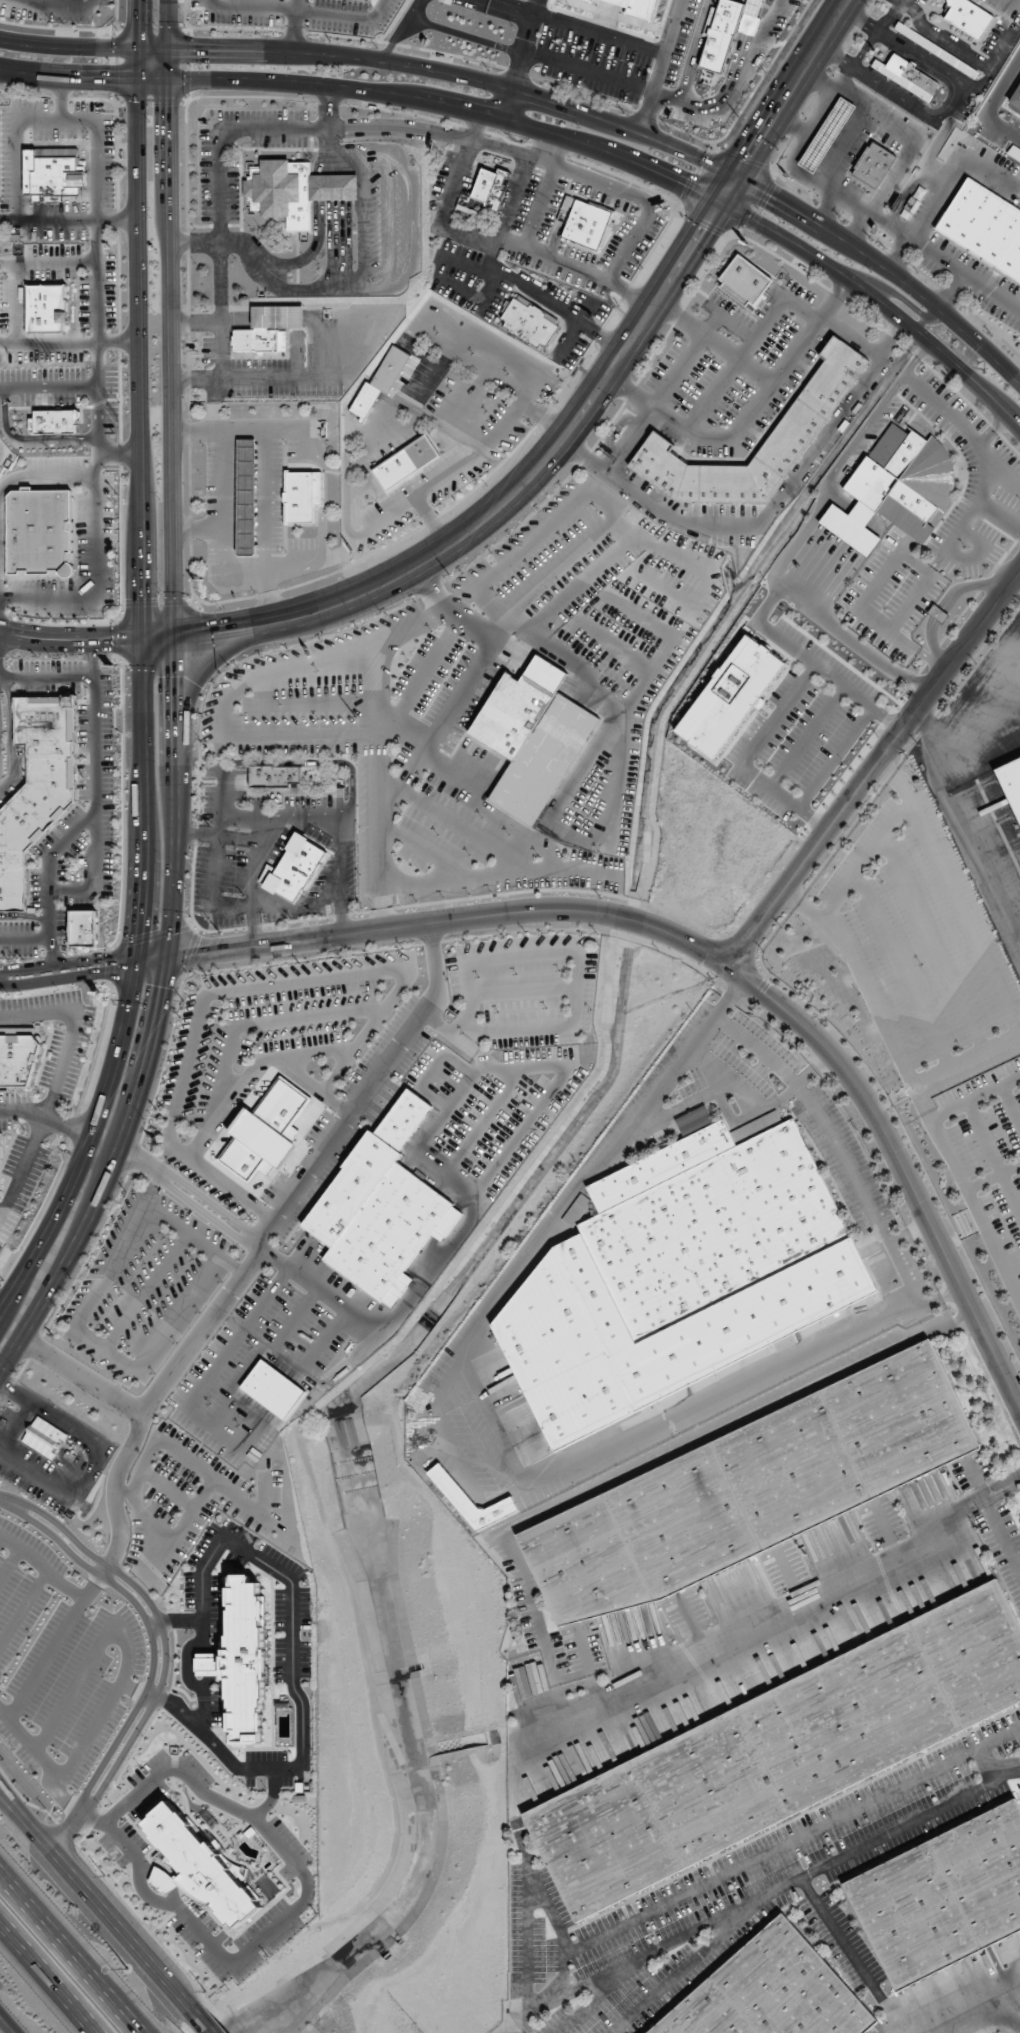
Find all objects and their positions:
building: (589, 0)
building: (446, 1)
road: (69, 2)
road: (510, 7)
road: (535, 7)
building: (638, 7)
road: (300, 10)
building: (966, 17)
traffic signals: (137, 20)
road: (294, 25)
road: (673, 28)
road: (399, 29)
road: (465, 36)
road: (636, 43)
traffic signals: (193, 49)
building: (934, 50)
road: (523, 51)
road: (587, 71)
building: (905, 76)
traffic signals: (108, 78)
road: (61, 98)
road: (549, 100)
road: (510, 105)
traffic signals: (168, 107)
power tower: (737, 116)
road: (472, 127)
road: (17, 129)
road: (551, 132)
building: (827, 135)
road: (547, 147)
traffic signals: (752, 154)
building: (873, 164)
building: (53, 171)
traffic signals: (682, 184)
building: (491, 186)
building: (333, 187)
building: (280, 190)
traffic signals: (771, 195)
road: (512, 196)
building: (468, 208)
road: (647, 212)
road: (68, 219)
building: (589, 224)
building: (982, 226)
traffic signals: (702, 230)
road: (218, 233)
road: (194, 239)
road: (47, 262)
power tower: (641, 267)
building: (744, 280)
road: (632, 293)
road: (96, 299)
road: (18, 302)
building: (47, 307)
road: (924, 317)
road: (195, 319)
road: (136, 320)
road: (170, 320)
building: (530, 321)
building: (267, 328)
road: (68, 342)
road: (715, 343)
road: (195, 379)
road: (48, 387)
building: (819, 395)
building: (364, 400)
power tower: (557, 401)
road: (654, 404)
road: (214, 405)
road: (585, 411)
road: (748, 416)
building: (54, 421)
road: (28, 438)
road: (118, 456)
building: (404, 463)
road: (43, 476)
road: (263, 484)
building: (896, 488)
building: (301, 495)
building: (246, 496)
road: (769, 515)
road: (225, 518)
road: (198, 526)
building: (40, 532)
power tower: (448, 574)
road: (93, 583)
traffic signals: (138, 596)
building: (937, 613)
traffic signals: (207, 637)
road: (68, 639)
traffic signals: (112, 640)
road: (155, 640)
road: (46, 677)
traffic signals: (174, 679)
road: (375, 687)
road: (431, 732)
road: (10, 735)
building: (531, 736)
power tower: (332, 756)
road: (873, 766)
building: (275, 776)
road: (94, 785)
building: (36, 786)
building: (1010, 786)
road: (608, 802)
road: (259, 815)
road: (198, 834)
road: (864, 861)
building: (295, 868)
road: (49, 880)
road: (953, 895)
power tower: (243, 896)
road: (24, 915)
building: (83, 927)
traffic signals: (141, 929)
power tower: (219, 932)
road: (24, 941)
road: (934, 944)
road: (696, 946)
traffic signals: (201, 952)
traffic signals: (100, 964)
road: (68, 966)
road: (902, 970)
traffic signals: (165, 989)
road: (130, 990)
power tower: (183, 1001)
road: (157, 1023)
road: (73, 1030)
building: (18, 1056)
road: (966, 1059)
road: (727, 1076)
road: (915, 1086)
road: (975, 1098)
road: (1011, 1104)
road: (771, 1105)
road: (679, 1107)
road: (46, 1118)
building: (265, 1133)
building: (1, 1145)
road: (142, 1158)
road: (993, 1158)
road: (849, 1169)
road: (992, 1177)
building: (380, 1207)
building: (577, 1210)
road: (909, 1234)
road: (259, 1241)
road: (258, 1242)
building: (681, 1273)
power tower: (2, 1279)
road: (81, 1376)
road: (446, 1417)
building: (900, 1418)
building: (45, 1439)
road: (644, 1463)
building: (791, 1470)
road: (1001, 1488)
building: (470, 1501)
road: (992, 1516)
building: (683, 1522)
road: (885, 1531)
building: (583, 1563)
road: (788, 1579)
road: (293, 1618)
road: (178, 1621)
road: (690, 1626)
road: (724, 1644)
road: (159, 1651)
building: (973, 1652)
building: (246, 1658)
building: (210, 1663)
road: (587, 1666)
road: (522, 1700)
building: (849, 1718)
road: (1004, 1768)
building: (710, 1788)
road: (273, 1796)
building: (602, 1841)
road: (791, 1841)
building: (206, 1870)
building: (985, 1871)
road: (775, 1887)
road: (308, 1888)
road: (93, 1900)
road: (547, 1905)
building: (912, 1917)
road: (526, 1935)
road: (840, 1939)
road: (73, 1947)
road: (687, 1963)
road: (44, 1981)
building: (791, 1986)
road: (603, 1992)
building: (706, 2014)
road: (199, 2021)
road: (513, 2022)
road: (8, 2023)

